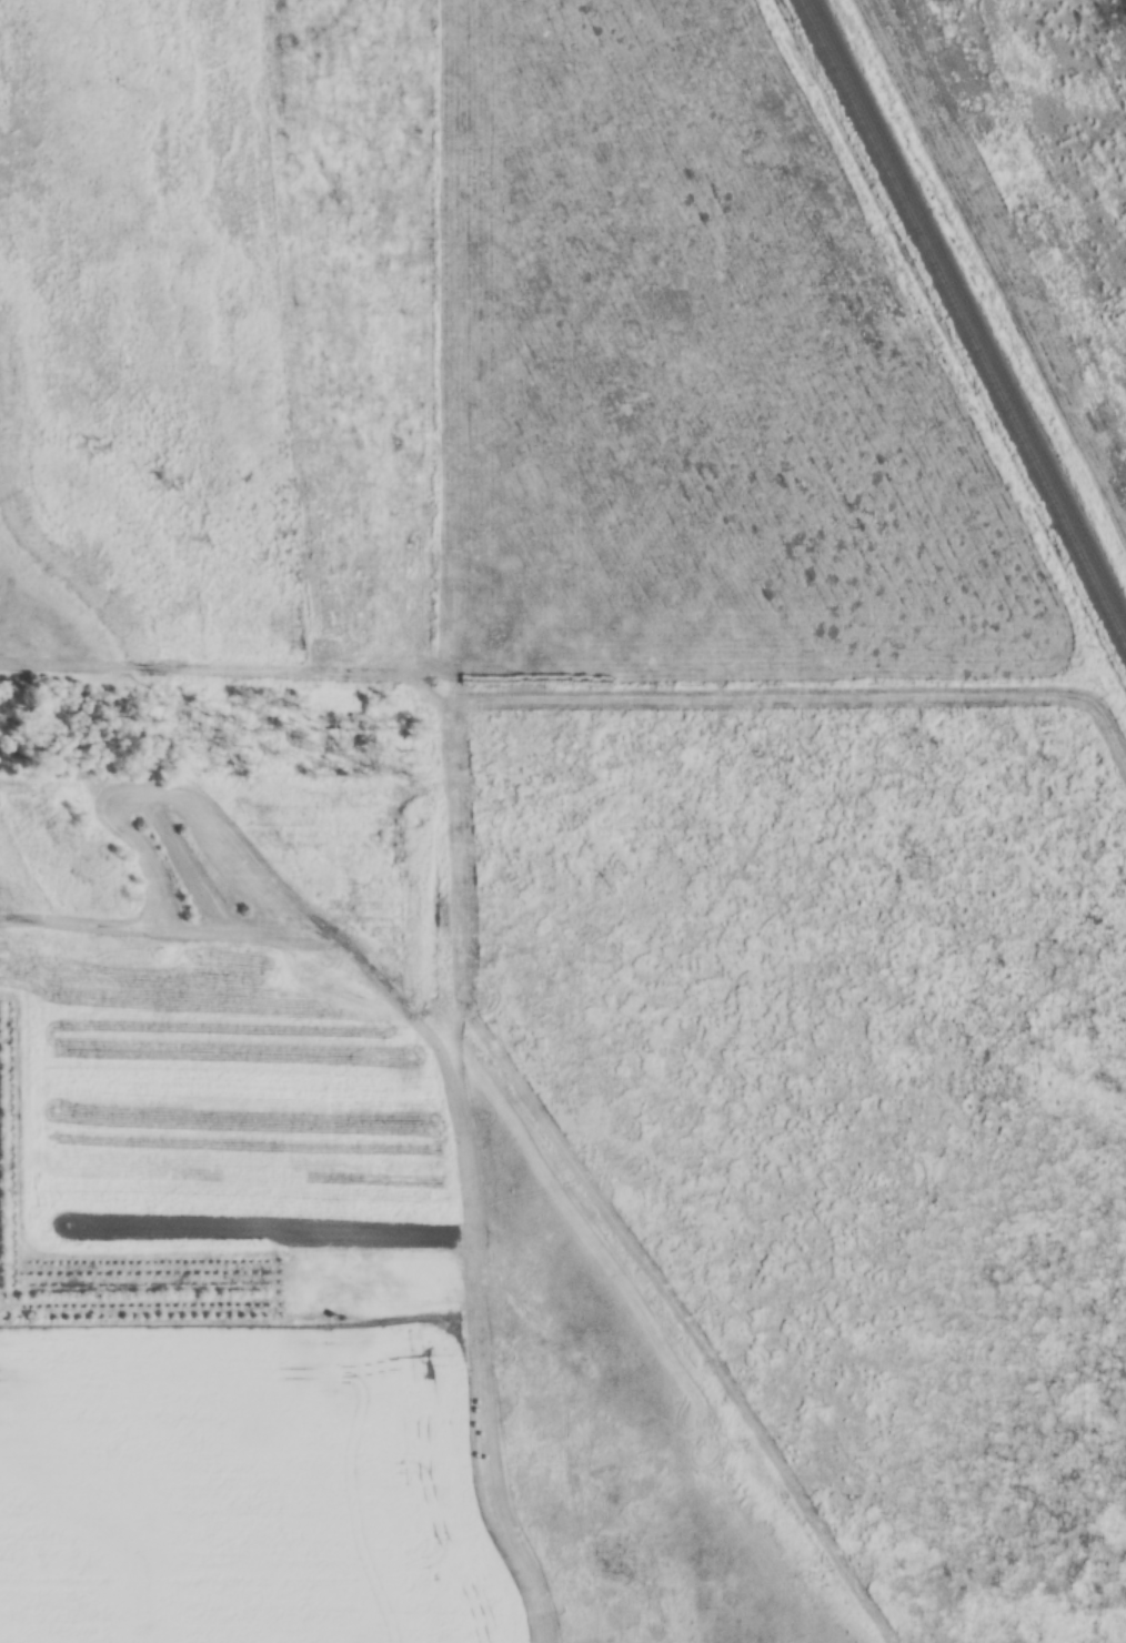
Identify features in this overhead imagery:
railway: (971, 308)
railway: (964, 322)

